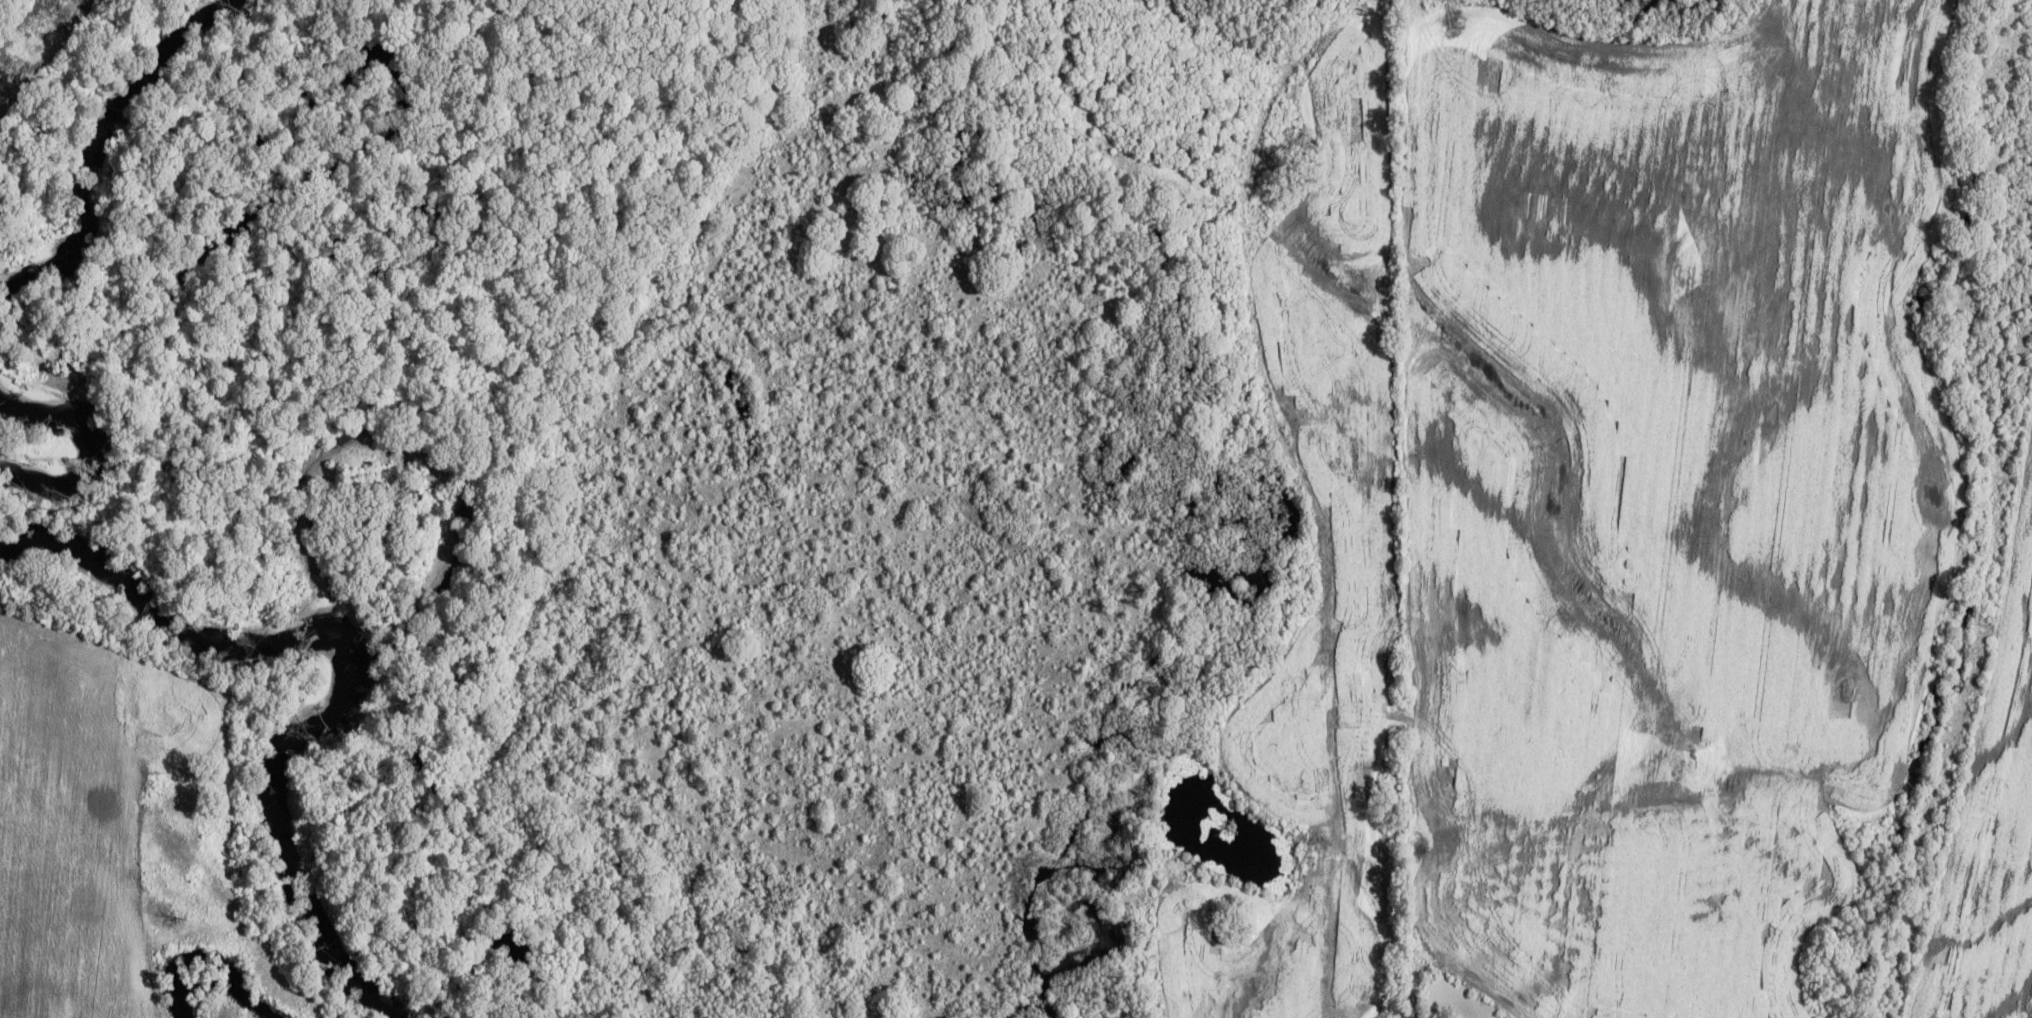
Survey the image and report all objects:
river: (116, 152)
river: (80, 443)
river: (336, 675)
river: (511, 957)

